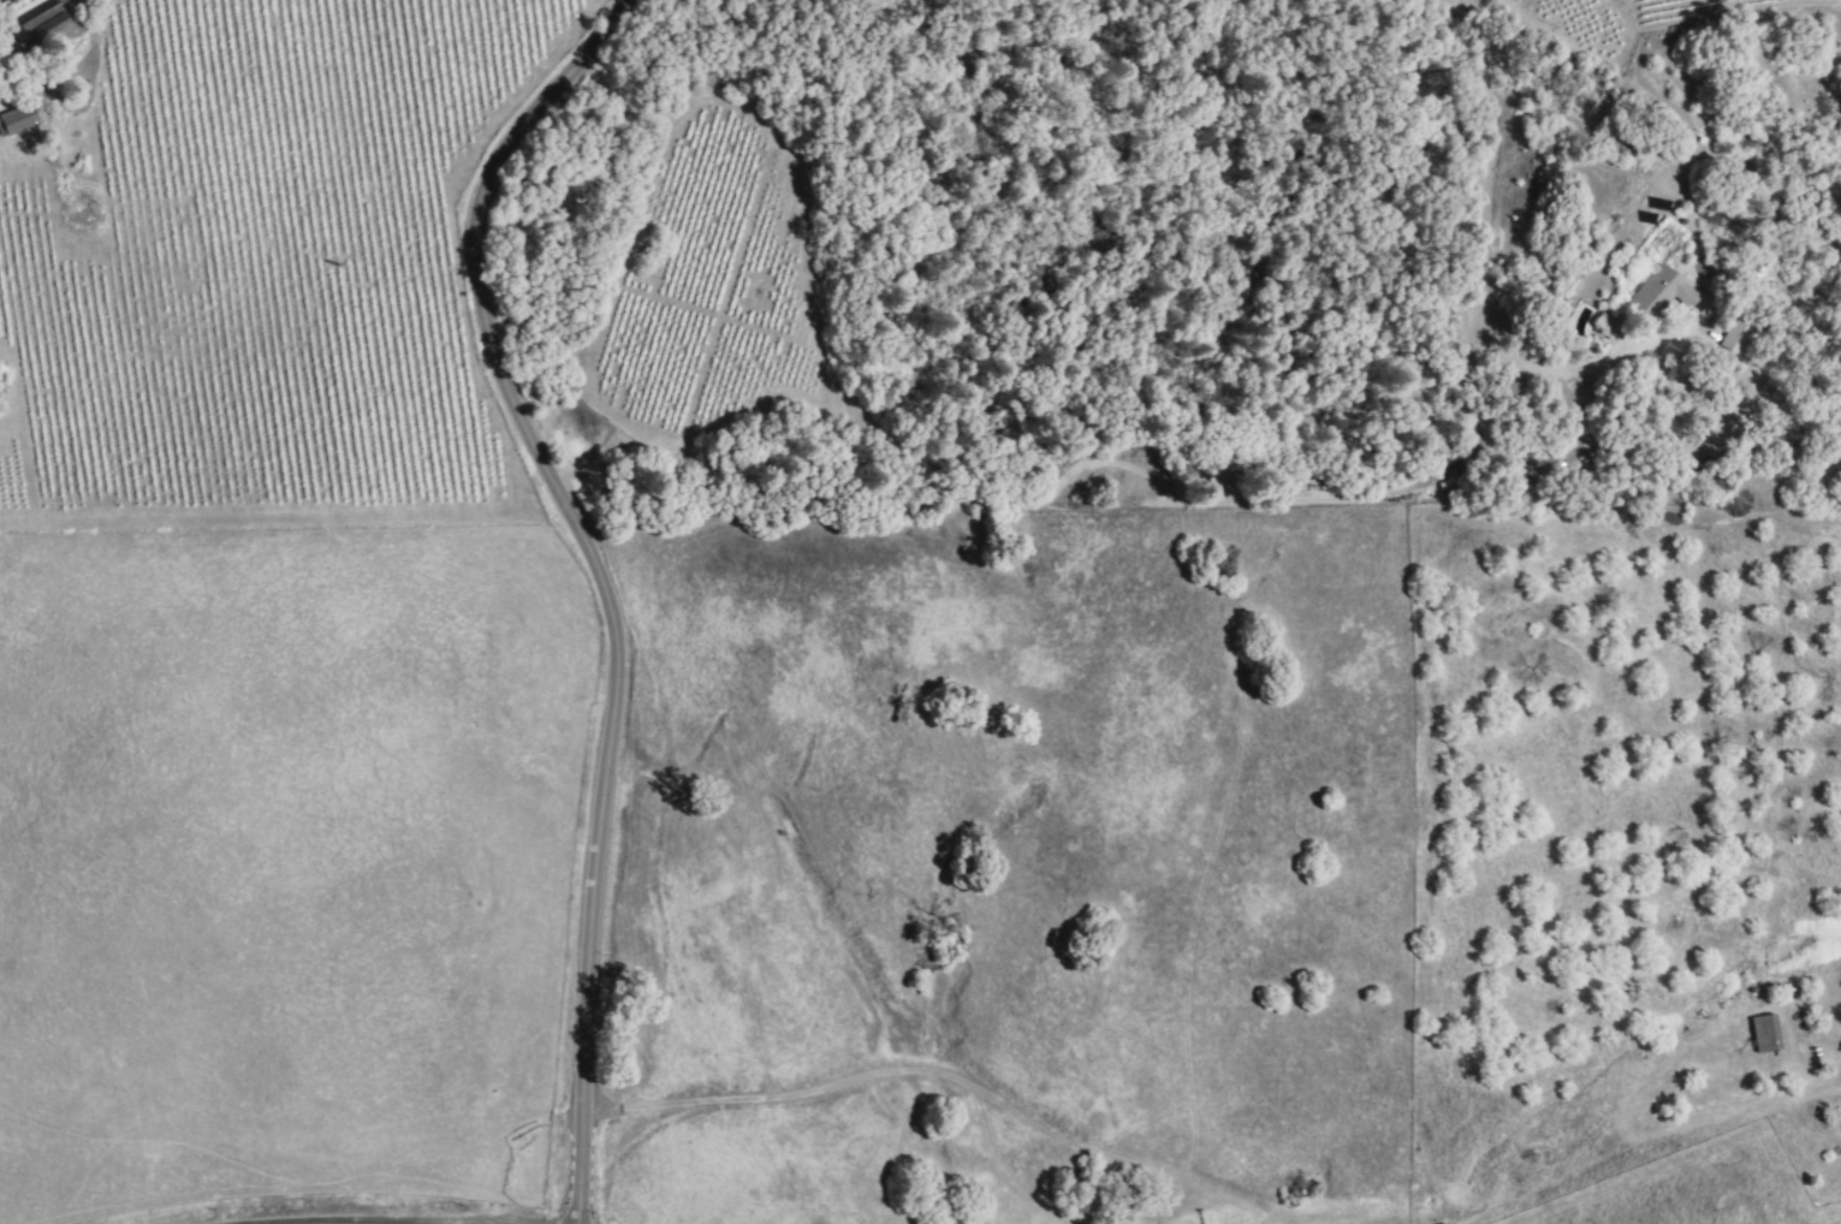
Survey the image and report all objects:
building: (46, 24)
road: (101, 24)
building: (16, 120)
road: (1493, 165)
building: (1658, 292)
building: (1733, 337)
road: (1554, 468)
road: (596, 575)
building: (1763, 1033)
road: (1839, 1075)

